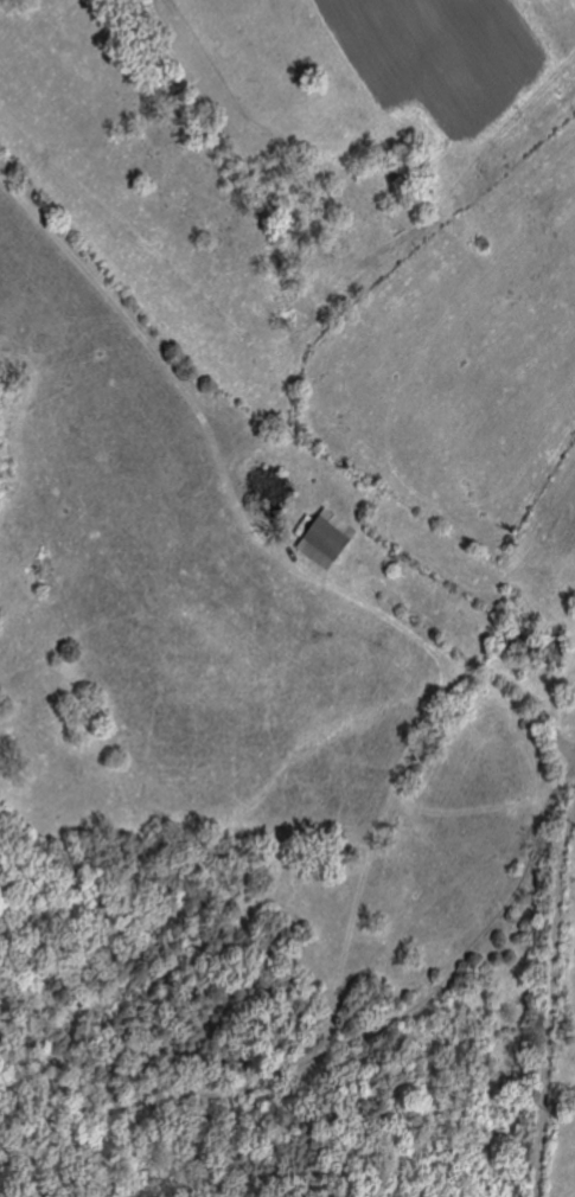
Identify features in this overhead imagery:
building: (331, 540)
road: (552, 1003)

